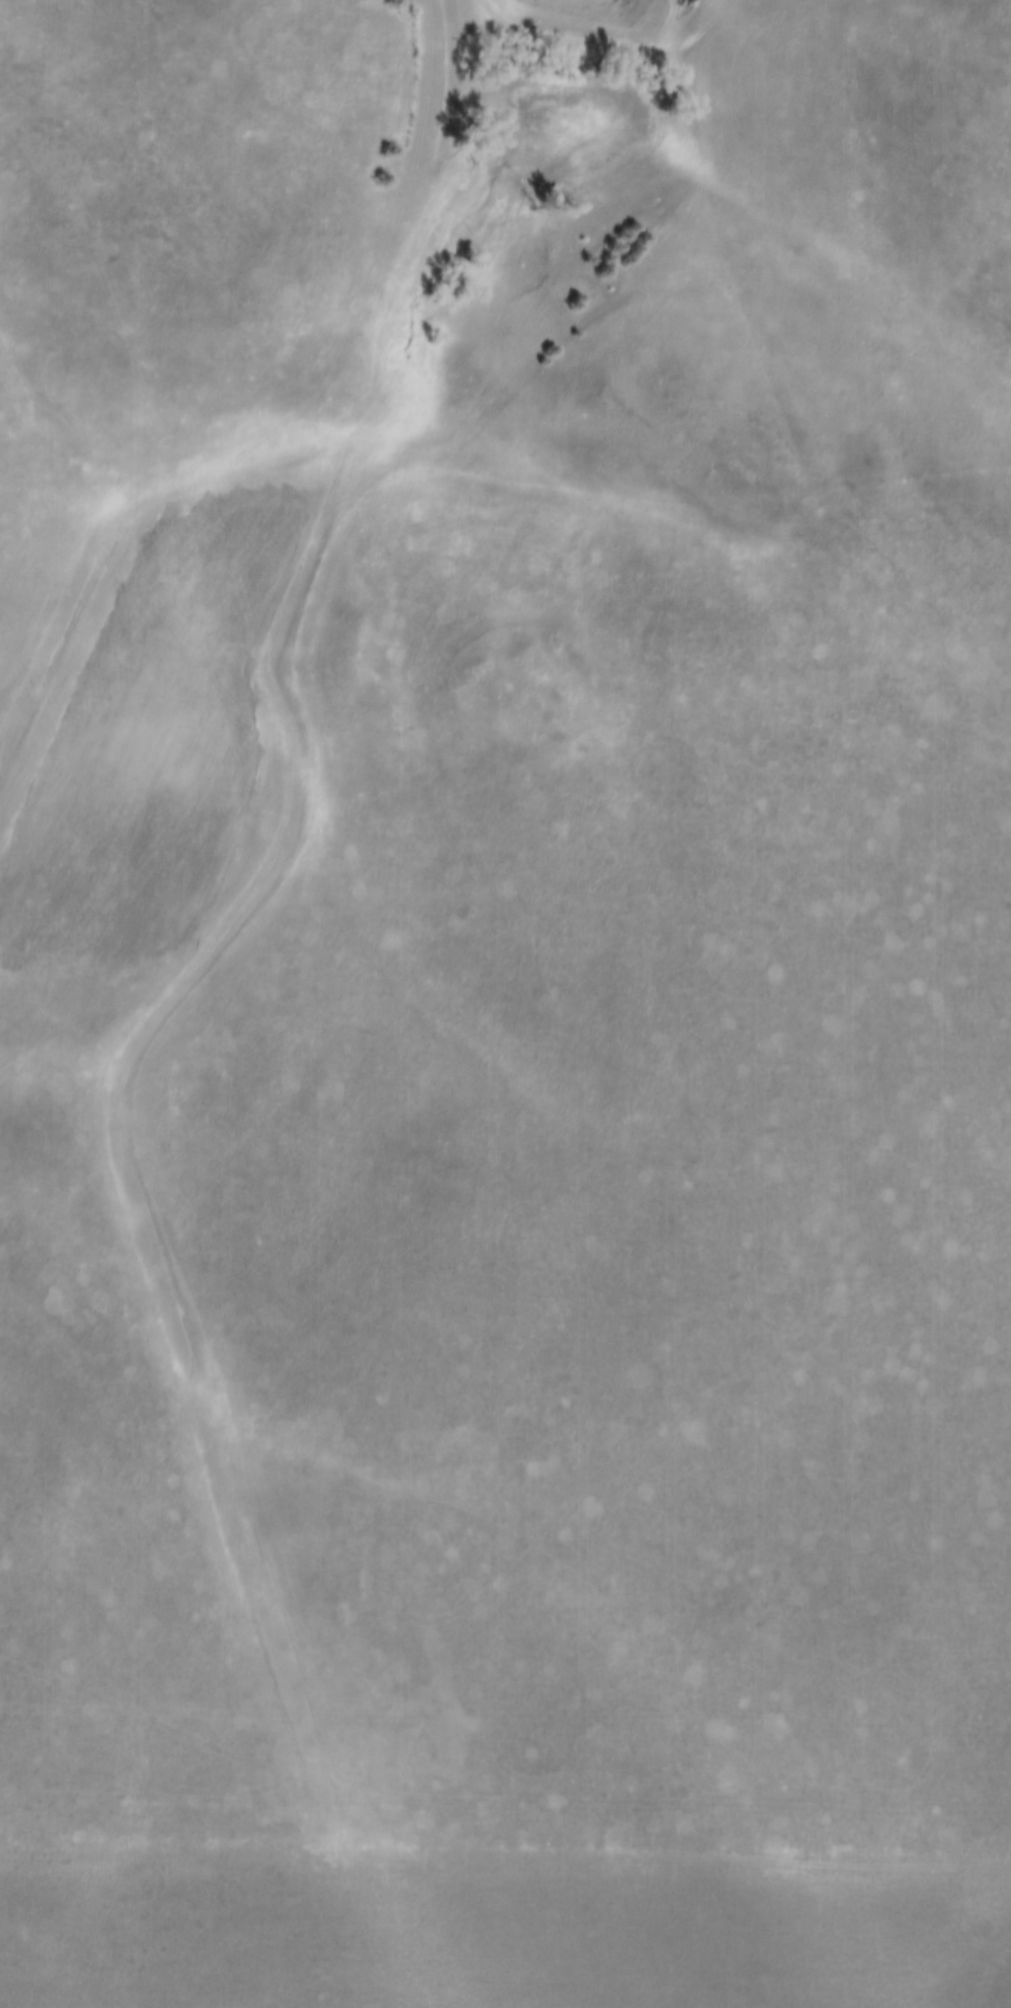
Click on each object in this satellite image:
road: (616, 53)
road: (21, 440)

